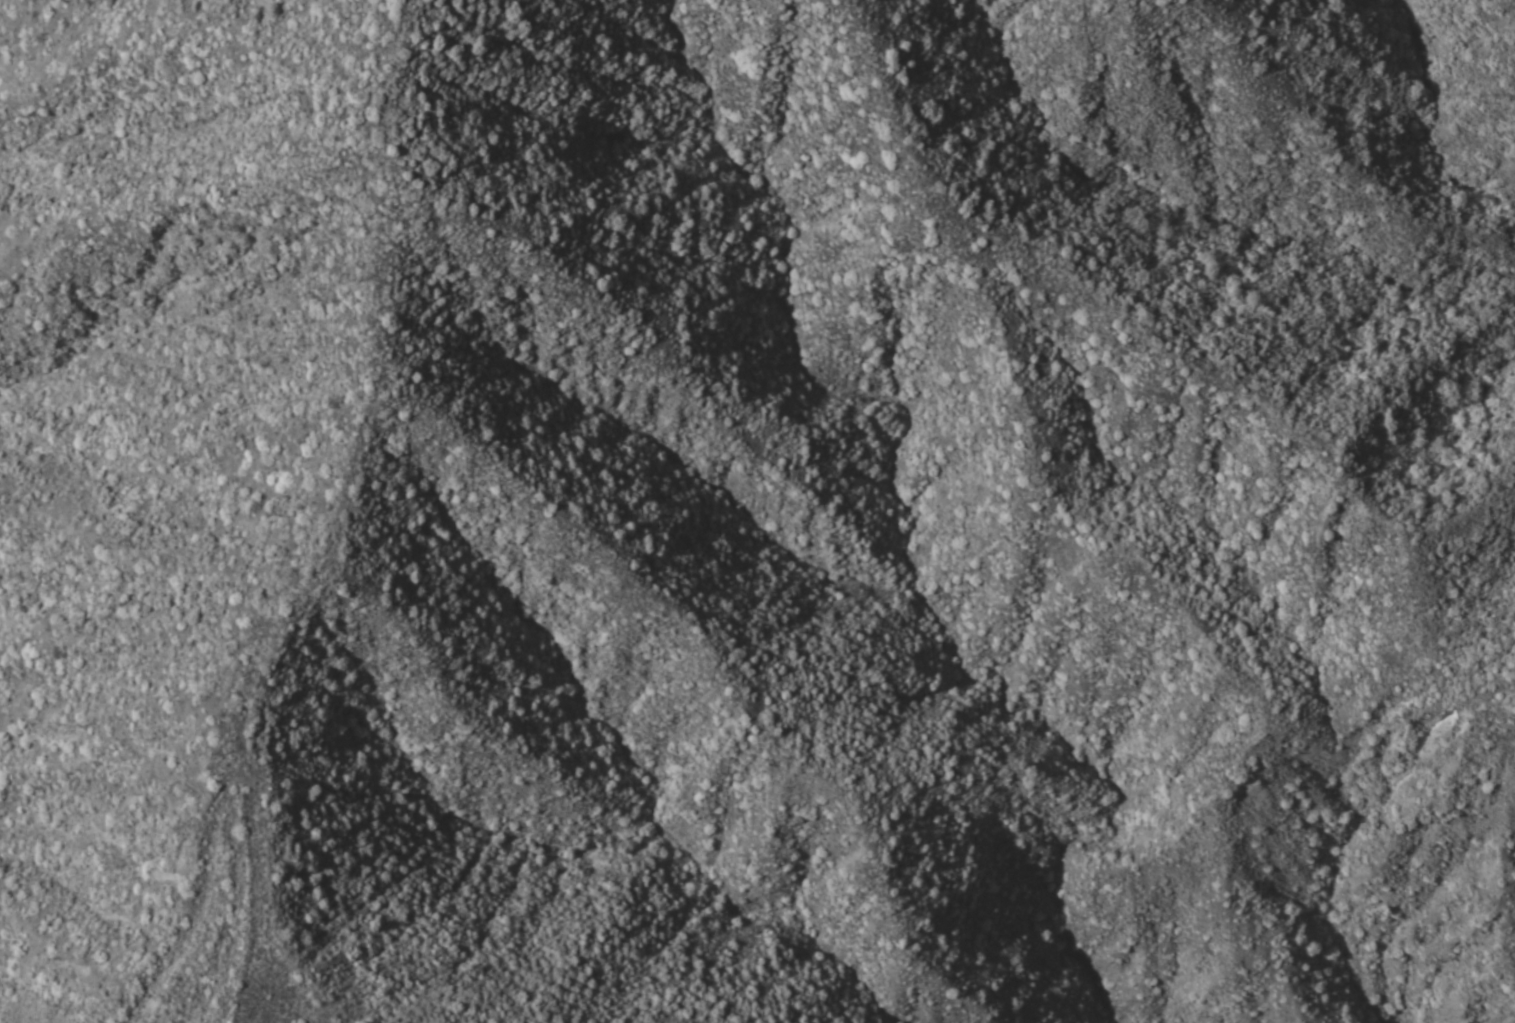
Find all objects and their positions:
quarry: (143, 907)

